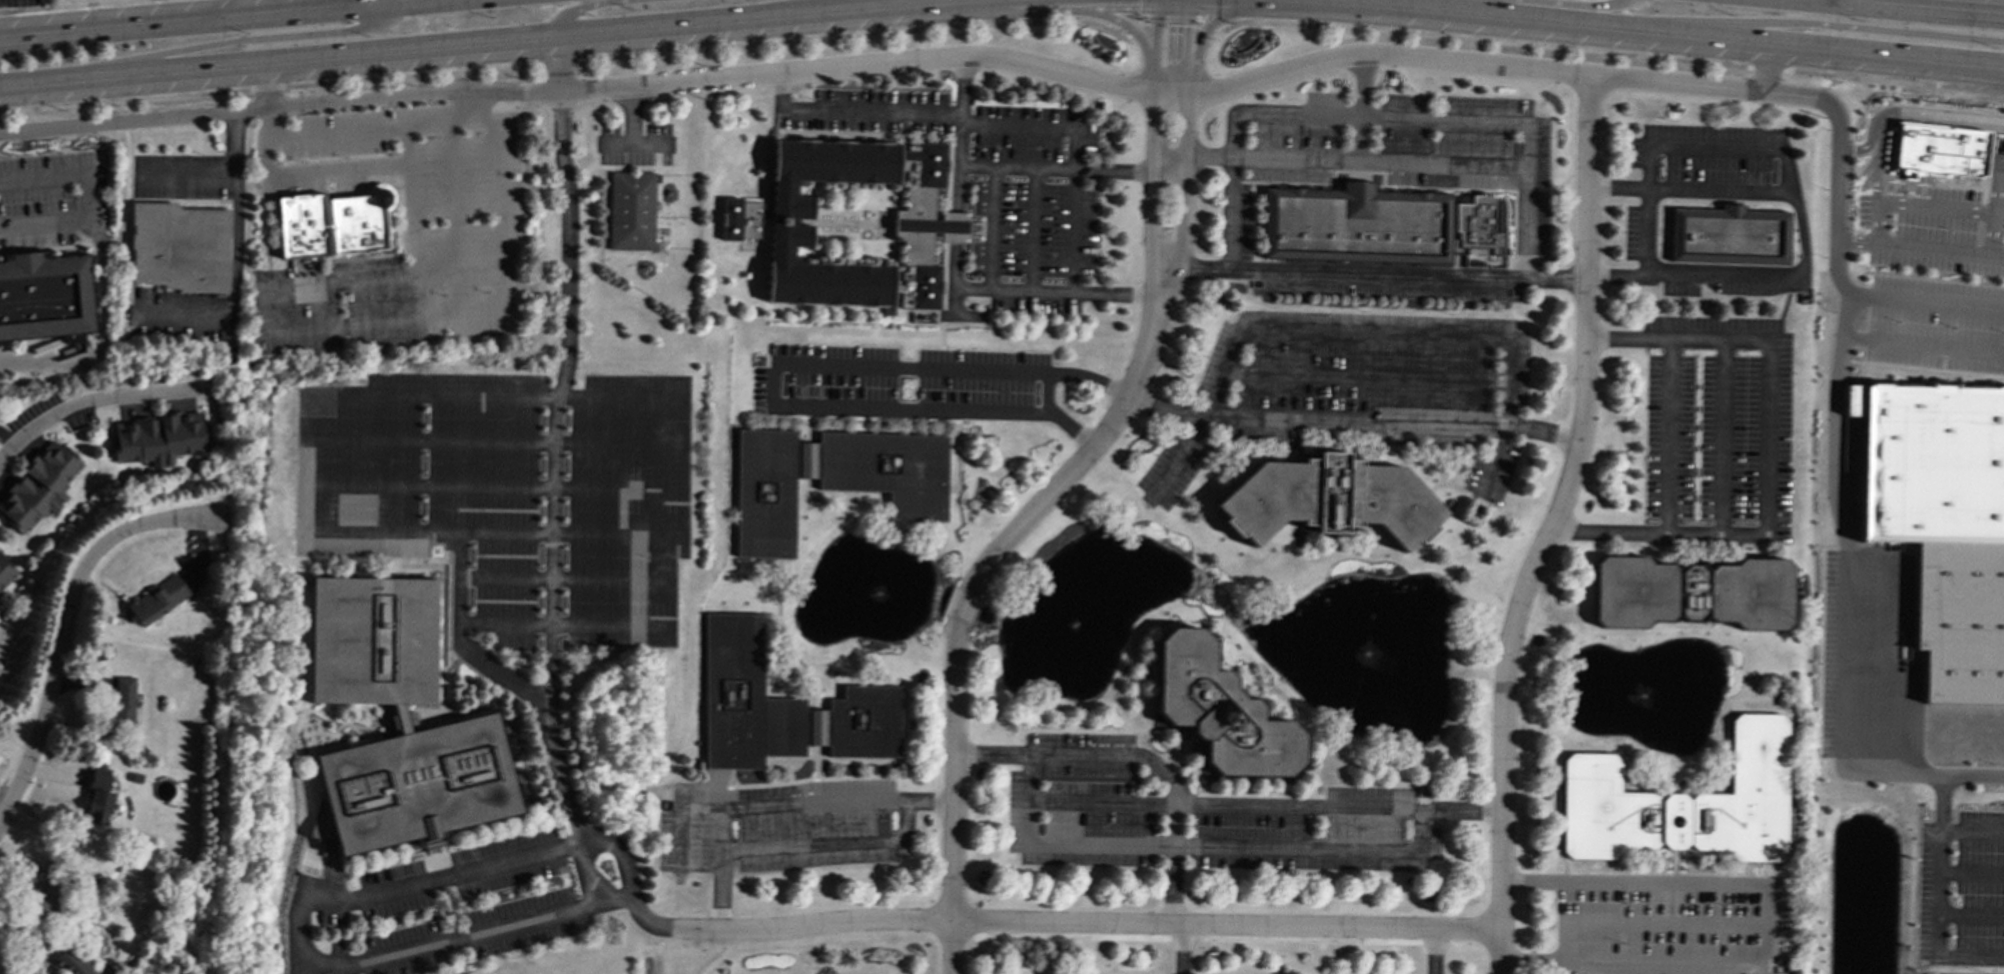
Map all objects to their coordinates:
road: (1515, 0)
road: (385, 1)
road: (1865, 1)
parking lot: (18, 3)
road: (61, 5)
road: (583, 7)
road: (1919, 7)
road: (241, 8)
road: (789, 9)
road: (1143, 9)
road: (1048, 10)
road: (1199, 10)
road: (209, 19)
road: (1170, 19)
road: (1819, 23)
road: (1208, 24)
road: (1212, 24)
road: (1137, 26)
traffic signals: (1189, 26)
road: (1659, 31)
road: (856, 35)
road: (236, 40)
road: (1483, 40)
road: (497, 42)
road: (43, 43)
road: (559, 62)
road: (561, 65)
road: (1767, 69)
road: (1893, 81)
road: (266, 85)
road: (271, 88)
road: (1187, 94)
road: (469, 105)
road: (280, 106)
road: (1364, 107)
road: (855, 111)
road: (632, 115)
road: (1383, 116)
road: (1936, 118)
road: (1022, 126)
road: (1156, 131)
road: (1190, 133)
road: (963, 134)
road: (634, 144)
road: (406, 145)
parking lot: (635, 145)
road: (1863, 148)
parking lot: (1417, 149)
building: (1937, 150)
road: (1341, 160)
road: (1875, 166)
road: (1059, 169)
road: (185, 174)
parking lot: (179, 177)
road: (1790, 180)
road: (1748, 181)
road: (1759, 182)
parking lot: (998, 183)
road: (1997, 186)
road: (1961, 187)
road: (1690, 190)
road: (1893, 192)
road: (1920, 194)
parking lot: (1699, 196)
parking lot: (49, 199)
road: (1937, 207)
building: (632, 210)
road: (1079, 211)
road: (459, 218)
parking lot: (1241, 222)
road: (41, 223)
building: (333, 223)
building: (933, 224)
building: (1378, 225)
road: (959, 226)
parking lot: (1937, 227)
road: (997, 229)
road: (1037, 230)
building: (1729, 236)
road: (1836, 244)
building: (181, 248)
road: (1919, 248)
road: (1168, 263)
road: (235, 264)
road: (103, 267)
road: (1189, 267)
road: (1386, 274)
road: (1587, 277)
road: (1161, 279)
road: (1171, 281)
parking lot: (1384, 281)
road: (956, 293)
road: (1060, 293)
building: (45, 297)
road: (421, 298)
parking lot: (177, 318)
parking lot: (1935, 325)
road: (336, 326)
road: (1360, 334)
road: (1922, 345)
road: (35, 352)
road: (1921, 368)
road: (998, 372)
road: (1366, 377)
parking lot: (907, 383)
parking lot: (1357, 388)
road: (1050, 394)
road: (625, 396)
road: (94, 402)
parking lot: (1720, 421)
road: (1667, 436)
road: (1723, 437)
building: (159, 438)
road: (497, 440)
road: (1769, 455)
road: (1086, 458)
road: (304, 460)
road: (556, 468)
building: (834, 480)
building: (39, 486)
road: (496, 486)
parking lot: (511, 493)
building: (1328, 499)
building: (1942, 523)
road: (1551, 525)
road: (621, 533)
road: (404, 545)
road: (420, 545)
road: (420, 562)
road: (419, 566)
building: (6, 573)
road: (567, 578)
road: (1848, 579)
fountain: (879, 593)
building: (1692, 594)
building: (157, 599)
building: (0, 605)
road: (962, 609)
road: (566, 623)
fountain: (1073, 623)
road: (67, 625)
road: (443, 635)
road: (463, 641)
road: (456, 647)
parking lot: (1836, 653)
fountain: (1375, 665)
building: (123, 702)
fountain: (1675, 703)
building: (781, 707)
building: (1220, 711)
building: (396, 723)
road: (1139, 756)
road: (814, 762)
road: (722, 785)
road: (814, 791)
road: (801, 792)
road: (776, 794)
road: (785, 794)
road: (767, 795)
building: (98, 798)
road: (953, 798)
road: (836, 801)
road: (1101, 803)
building: (1684, 803)
road: (1337, 808)
parking lot: (1201, 819)
parking lot: (775, 827)
road: (1973, 832)
road: (676, 836)
road: (830, 843)
road: (1200, 847)
road: (619, 852)
road: (400, 855)
road: (426, 855)
road: (475, 857)
road: (457, 862)
road: (310, 868)
road: (1942, 868)
road: (719, 869)
road: (416, 872)
road: (1973, 872)
parking lot: (460, 873)
road: (399, 876)
road: (471, 883)
road: (461, 885)
parking lot: (1980, 888)
road: (587, 891)
parking lot: (1933, 893)
building: (39, 895)
road: (447, 914)
road: (1972, 914)
parking lot: (331, 918)
road: (644, 920)
road: (1084, 922)
road: (1646, 922)
parking lot: (1669, 924)
road: (1767, 924)
parking lot: (464, 935)
road: (297, 941)
road: (1183, 949)
road: (1433, 951)
building: (70, 962)
road: (297, 969)

